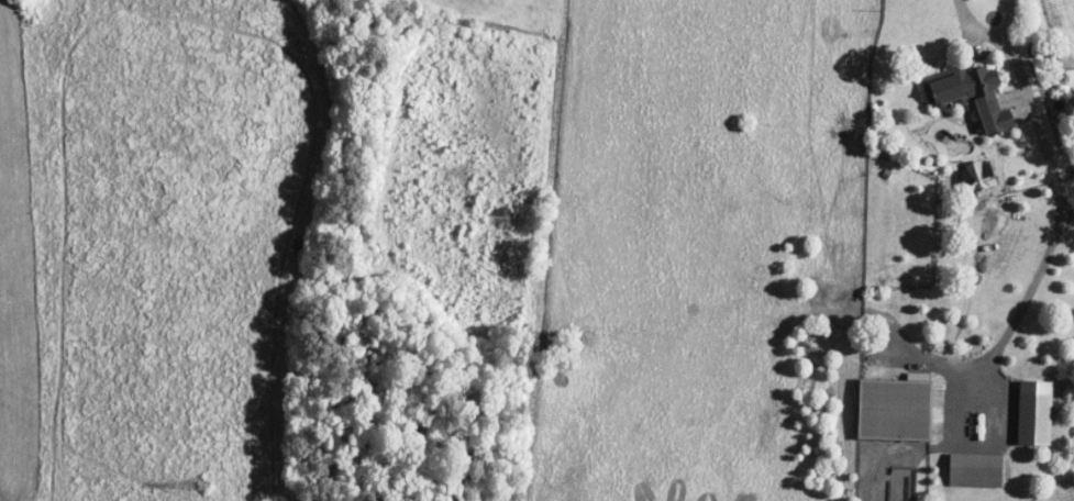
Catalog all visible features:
road: (990, 36)
building: (956, 85)
road: (1045, 260)
road: (978, 403)
building: (897, 410)
building: (1034, 411)
building: (978, 470)
power tower: (206, 482)

